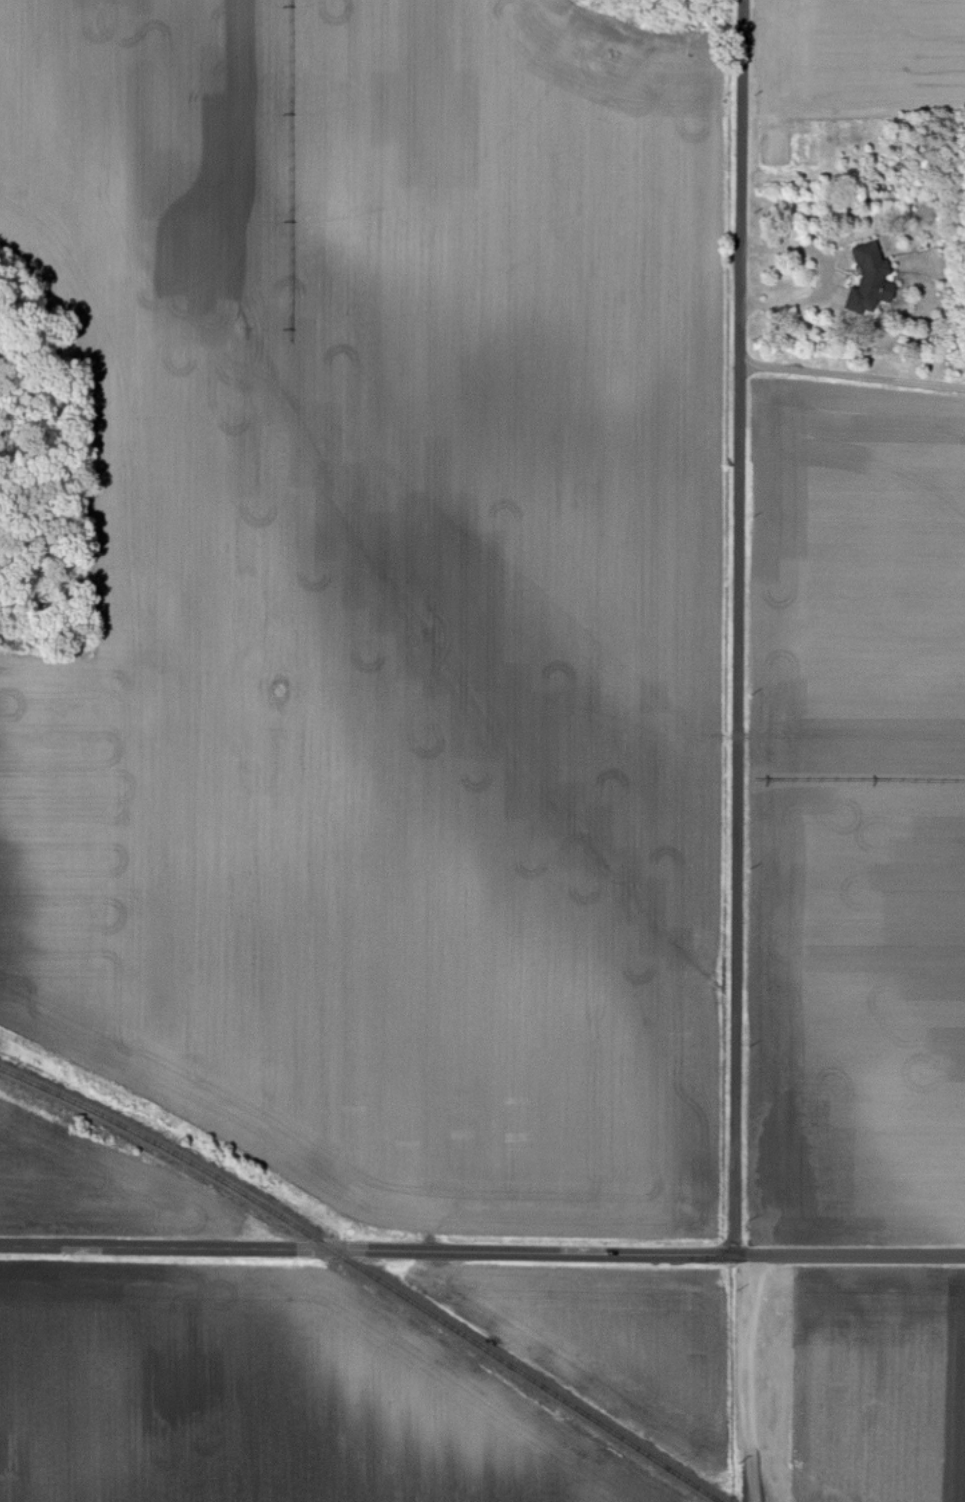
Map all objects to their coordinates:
road: (830, 274)
building: (864, 278)
road: (852, 376)
road: (737, 629)
road: (367, 1247)
road: (850, 1258)
railway: (370, 1271)
road: (747, 1380)

